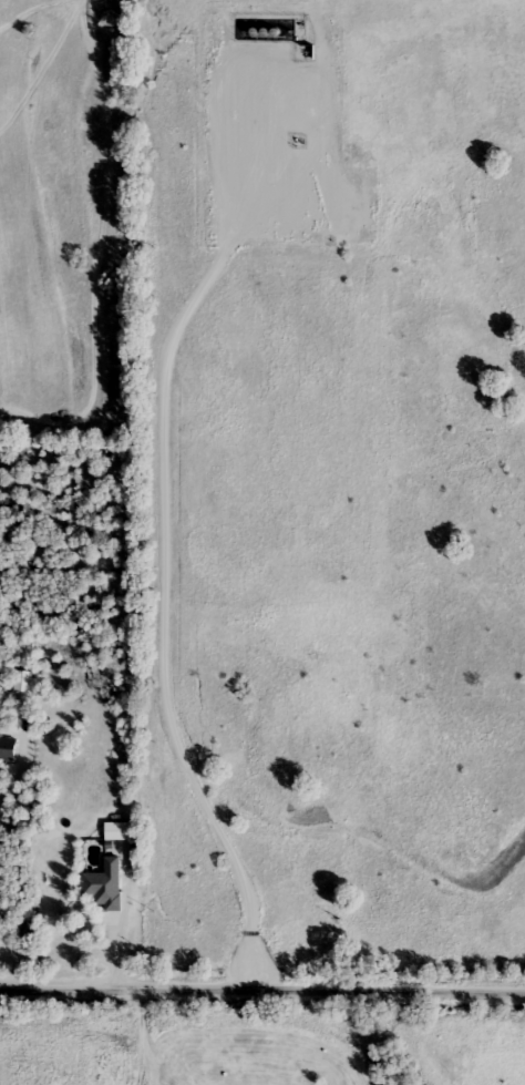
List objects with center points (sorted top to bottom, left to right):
building: (0, 731)
building: (8, 748)
building: (120, 829)
building: (105, 883)
road: (262, 991)

